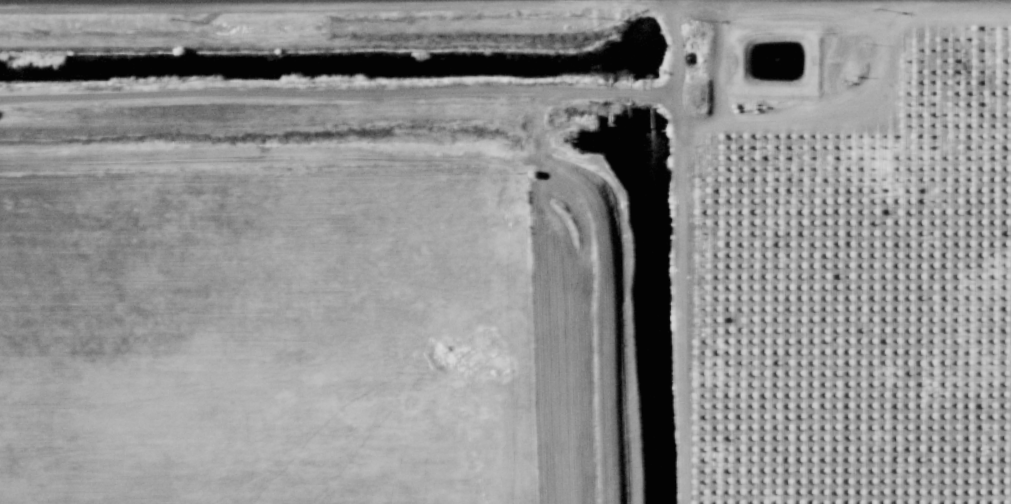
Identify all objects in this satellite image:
crop: (838, 348)

